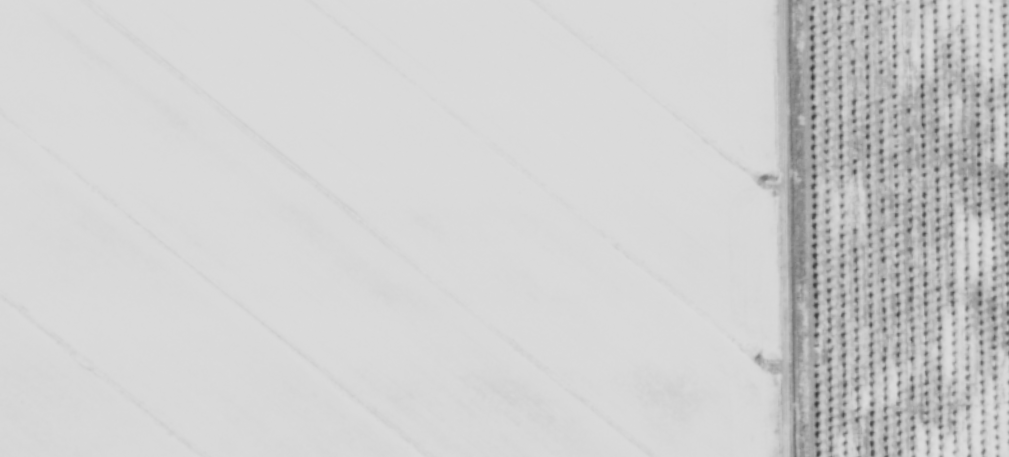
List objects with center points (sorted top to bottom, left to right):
road: (781, 228)

